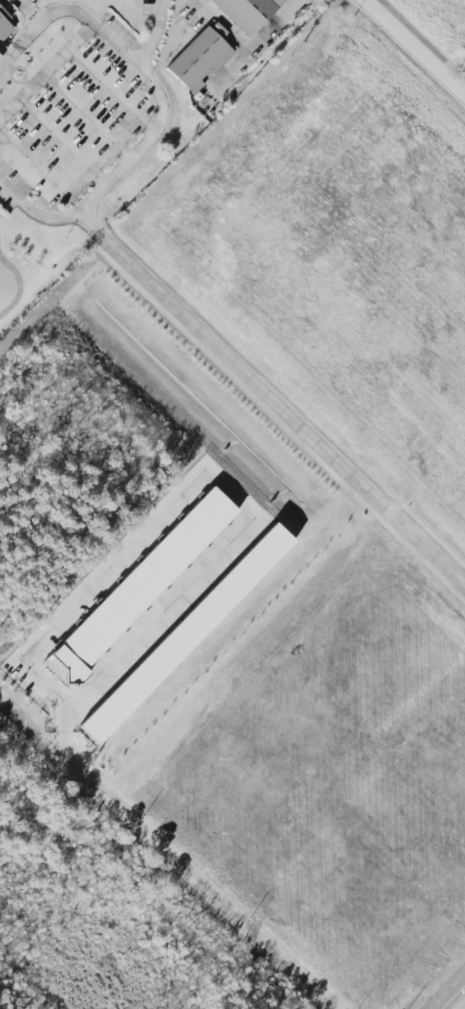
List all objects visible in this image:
building: (247, 12)
building: (3, 18)
road: (152, 35)
building: (1, 49)
road: (413, 49)
building: (200, 59)
road: (45, 70)
road: (109, 92)
road: (159, 112)
road: (84, 117)
road: (59, 143)
park: (142, 155)
road: (44, 177)
road: (274, 403)
road: (204, 484)
building: (134, 590)
building: (184, 633)
road: (173, 866)
road: (448, 991)

